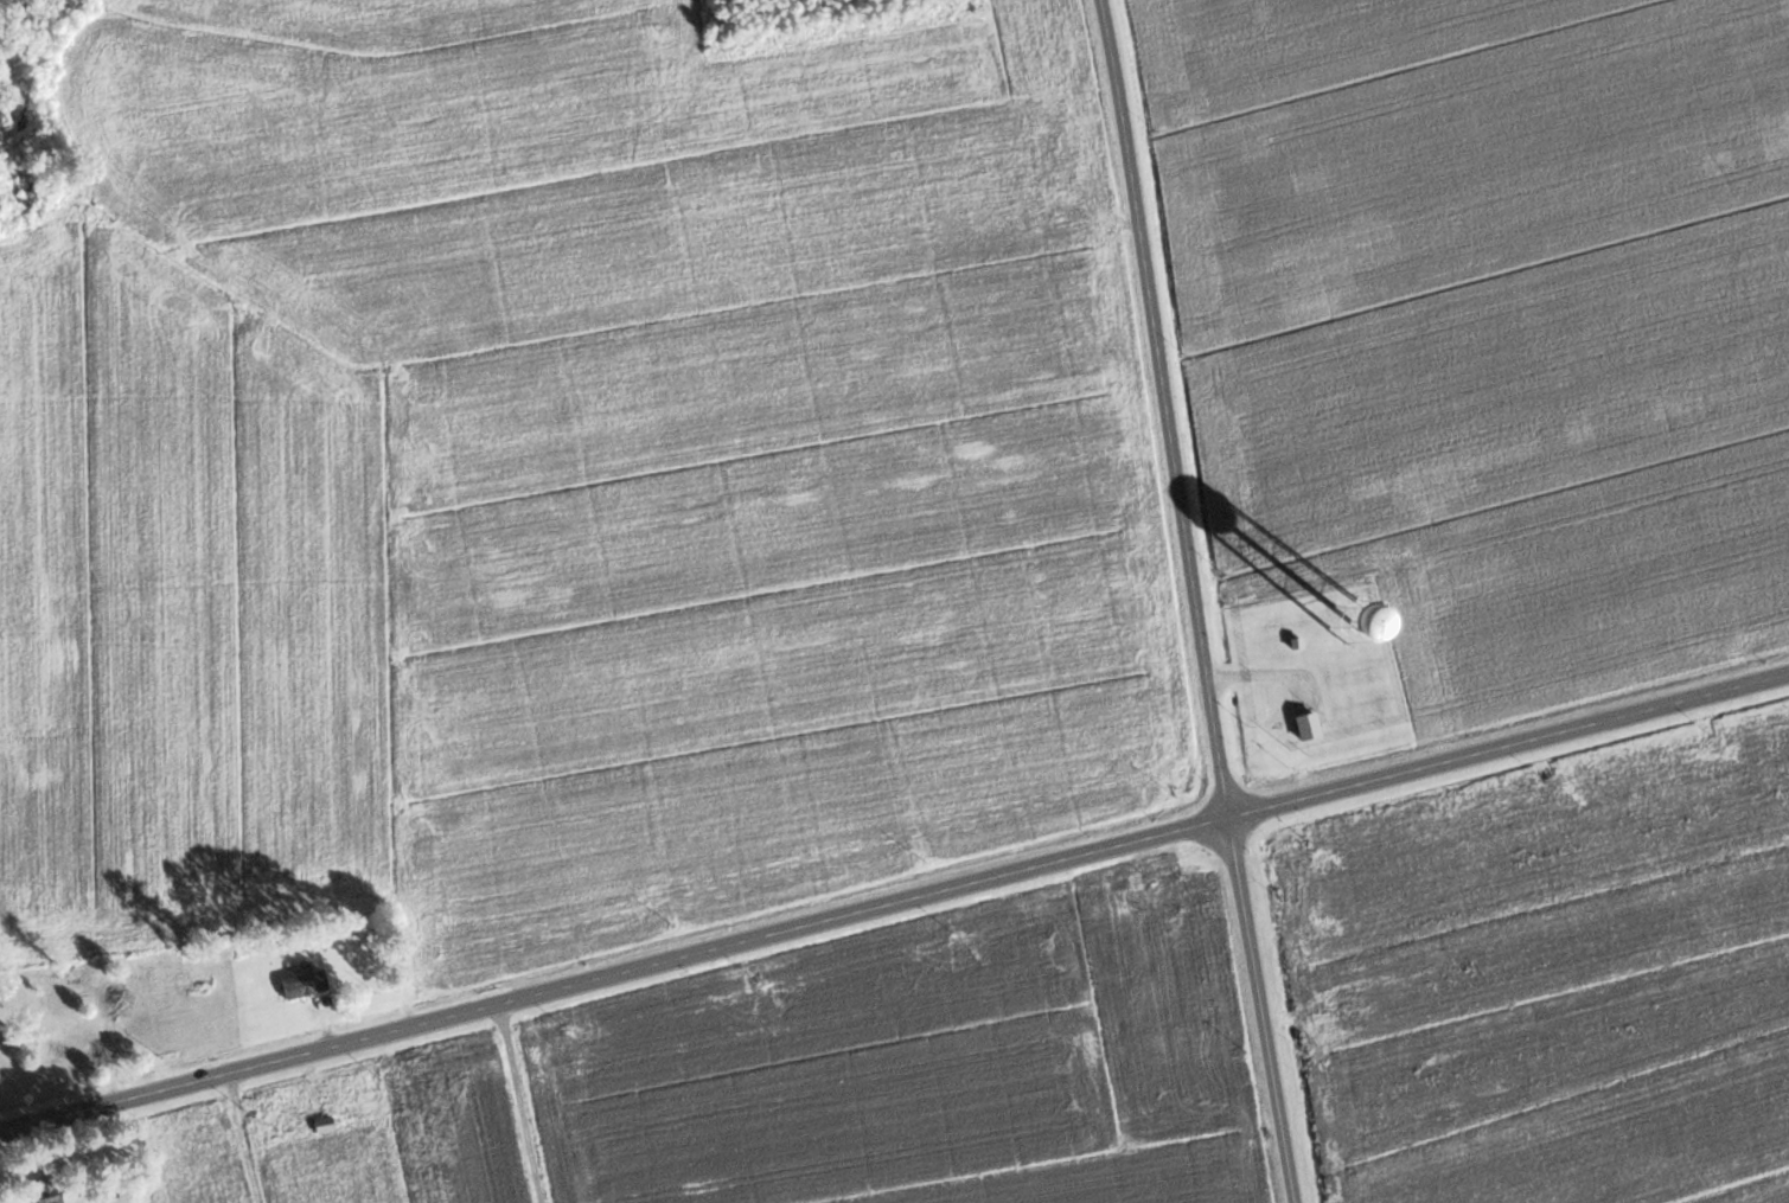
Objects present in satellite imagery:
road: (1165, 405)
building: (1334, 615)
water tower: (1347, 615)
building: (1304, 725)
road: (894, 900)
building: (301, 984)
building: (102, 1000)
building: (142, 1004)
road: (1260, 1007)
building: (51, 1039)
building: (321, 1124)
road: (238, 1139)
building: (45, 1191)

